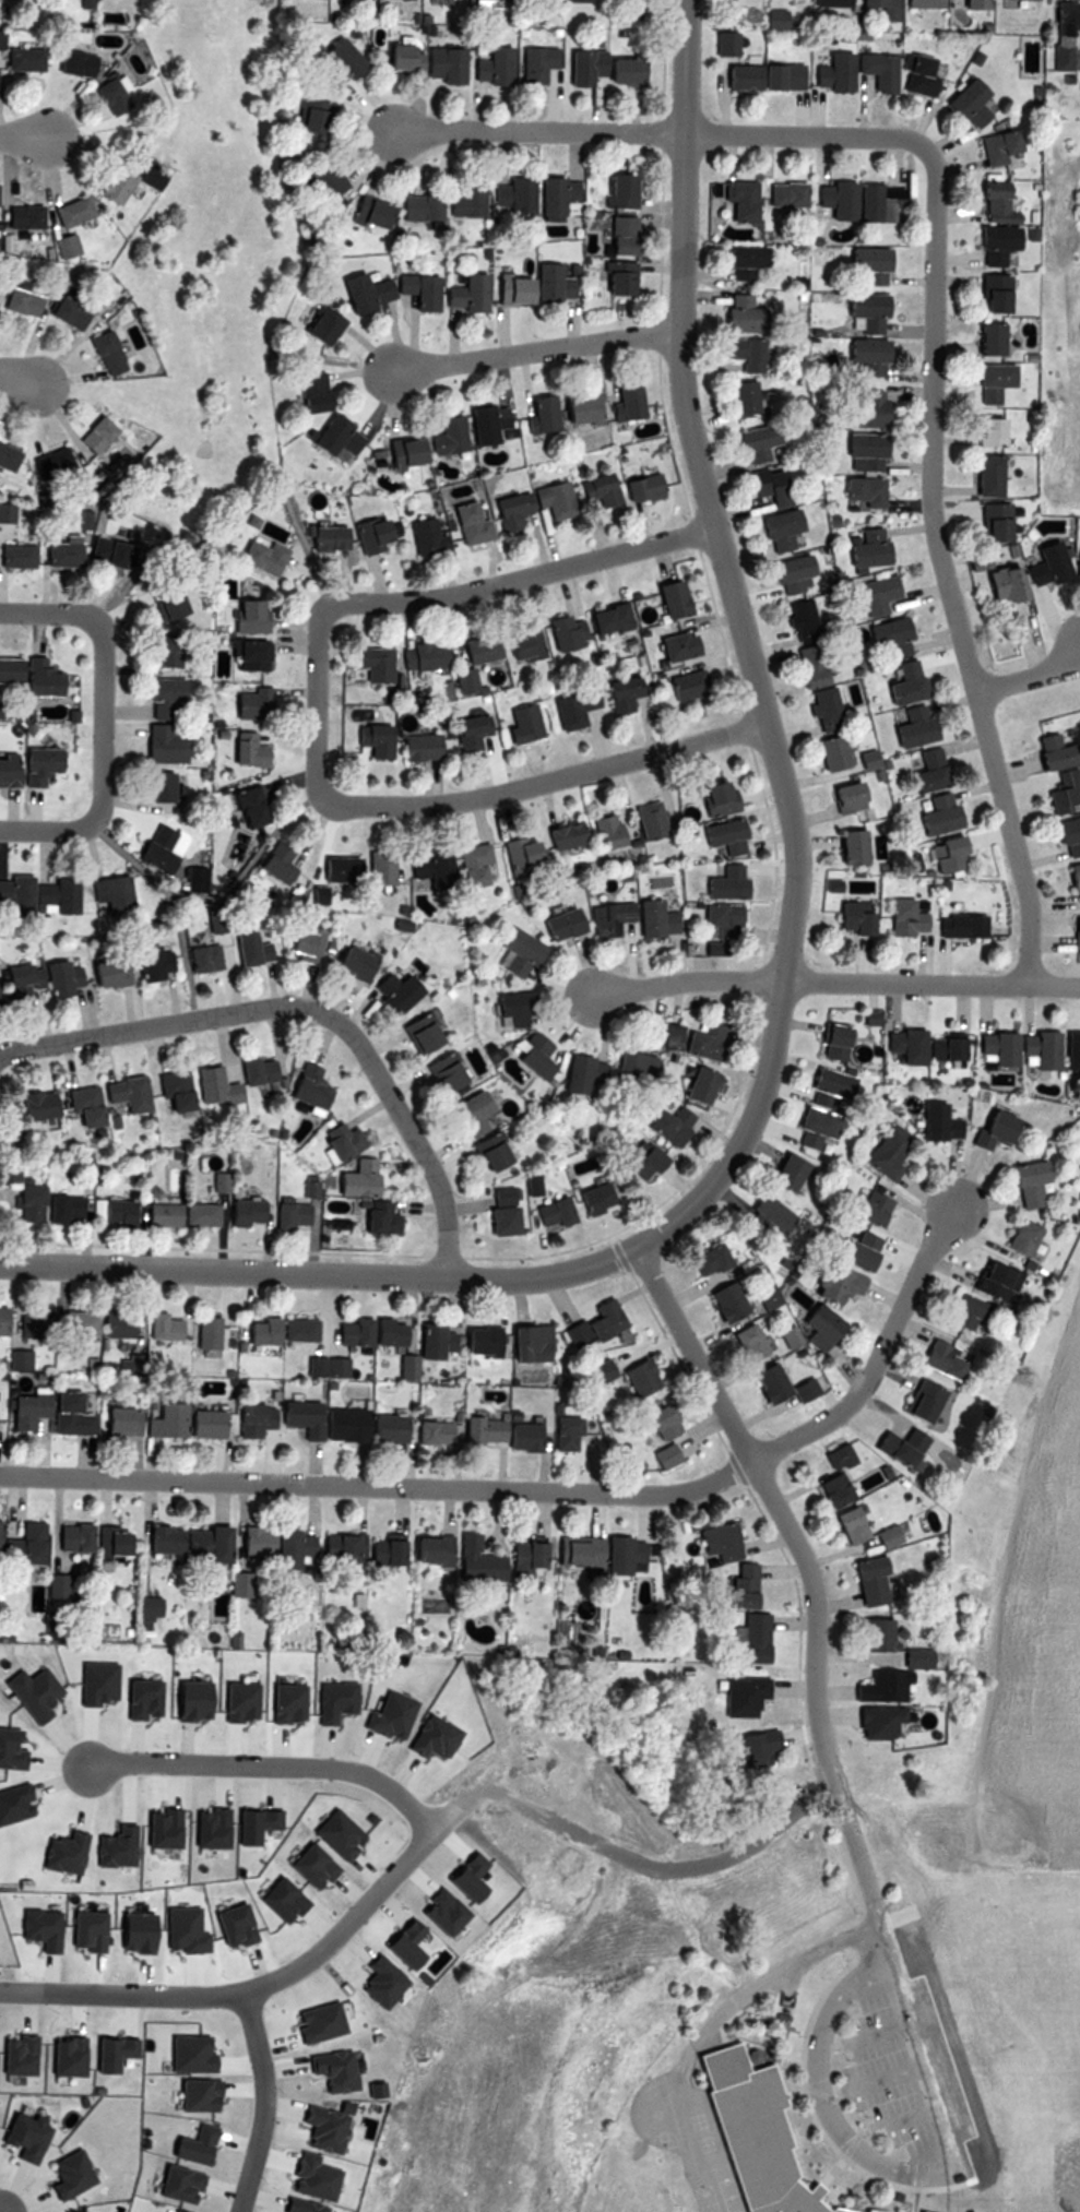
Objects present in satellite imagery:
building: (581, 0)
building: (627, 2)
building: (968, 2)
building: (824, 3)
building: (917, 3)
building: (876, 8)
building: (772, 20)
building: (0, 39)
building: (1065, 39)
building: (723, 44)
building: (394, 56)
building: (21, 59)
building: (70, 62)
building: (331, 62)
building: (529, 62)
building: (437, 63)
building: (578, 64)
building: (486, 66)
building: (619, 68)
building: (870, 70)
building: (827, 72)
building: (774, 76)
building: (913, 76)
building: (736, 78)
building: (105, 96)
building: (969, 104)
building: (301, 115)
building: (994, 147)
building: (143, 176)
building: (319, 179)
building: (619, 190)
building: (508, 194)
building: (780, 194)
building: (554, 195)
building: (462, 199)
building: (735, 199)
building: (855, 200)
building: (417, 206)
building: (370, 212)
building: (67, 213)
building: (16, 216)
building: (616, 235)
building: (59, 247)
building: (737, 260)
building: (866, 263)
building: (613, 276)
building: (545, 282)
building: (507, 288)
building: (413, 289)
building: (358, 292)
building: (461, 292)
building: (988, 293)
building: (15, 300)
building: (864, 311)
building: (63, 312)
building: (735, 312)
building: (316, 325)
building: (983, 338)
building: (99, 353)
building: (739, 353)
building: (863, 355)
building: (985, 380)
building: (306, 390)
building: (738, 396)
building: (622, 401)
building: (575, 408)
building: (861, 408)
building: (538, 413)
building: (479, 423)
building: (982, 430)
building: (331, 435)
building: (91, 436)
building: (444, 436)
building: (752, 443)
building: (859, 450)
building: (402, 452)
building: (3, 455)
building: (45, 463)
building: (981, 475)
building: (639, 487)
building: (764, 488)
building: (605, 489)
building: (857, 491)
building: (538, 503)
building: (2, 512)
building: (987, 522)
building: (468, 523)
building: (774, 531)
building: (378, 533)
building: (427, 536)
building: (329, 537)
building: (861, 548)
building: (110, 549)
building: (61, 550)
building: (14, 555)
building: (258, 557)
building: (1056, 564)
building: (785, 575)
building: (1008, 582)
building: (870, 596)
building: (161, 598)
building: (666, 600)
building: (242, 616)
building: (602, 621)
building: (795, 622)
building: (558, 633)
building: (883, 640)
building: (518, 644)
building: (670, 647)
building: (473, 649)
building: (159, 650)
building: (244, 654)
building: (368, 664)
building: (806, 667)
building: (7, 668)
building: (34, 677)
building: (456, 681)
building: (902, 685)
building: (680, 687)
building: (156, 694)
building: (616, 694)
building: (245, 703)
building: (567, 707)
building: (826, 710)
building: (515, 724)
building: (919, 726)
building: (463, 733)
building: (368, 738)
building: (156, 744)
building: (413, 745)
building: (240, 749)
building: (1059, 752)
building: (828, 753)
building: (33, 763)
building: (4, 770)
building: (937, 770)
building: (152, 784)
building: (1066, 793)
building: (710, 798)
building: (842, 798)
building: (241, 807)
building: (939, 816)
building: (643, 820)
building: (602, 832)
building: (560, 835)
building: (719, 837)
building: (1067, 837)
building: (152, 846)
building: (845, 846)
building: (518, 853)
building: (946, 856)
building: (270, 864)
building: (471, 865)
building: (333, 867)
building: (372, 867)
building: (428, 867)
building: (188, 879)
building: (1073, 882)
building: (720, 883)
building: (105, 891)
building: (12, 893)
building: (49, 894)
building: (310, 894)
building: (606, 917)
building: (649, 918)
building: (715, 918)
building: (847, 918)
building: (209, 919)
building: (899, 919)
building: (561, 923)
building: (966, 926)
building: (1075, 930)
building: (297, 942)
building: (242, 948)
building: (521, 954)
building: (198, 958)
building: (147, 961)
building: (347, 962)
building: (103, 972)
building: (55, 976)
building: (14, 980)
building: (391, 990)
building: (517, 1009)
building: (415, 1033)
building: (826, 1042)
building: (899, 1045)
building: (992, 1046)
building: (939, 1048)
building: (1036, 1049)
building: (1069, 1050)
building: (541, 1055)
building: (633, 1069)
building: (251, 1070)
building: (586, 1071)
building: (441, 1072)
building: (210, 1085)
building: (306, 1085)
building: (699, 1085)
building: (822, 1086)
building: (169, 1089)
building: (121, 1093)
building: (31, 1104)
building: (80, 1106)
building: (470, 1115)
building: (931, 1122)
building: (673, 1123)
building: (810, 1128)
building: (340, 1140)
building: (495, 1153)
building: (888, 1153)
building: (645, 1158)
building: (7, 1170)
building: (358, 1177)
building: (218, 1181)
building: (1023, 1184)
building: (591, 1199)
building: (22, 1200)
building: (57, 1206)
building: (111, 1210)
building: (240, 1210)
building: (500, 1210)
building: (880, 1210)
building: (176, 1213)
building: (284, 1213)
building: (550, 1213)
building: (768, 1215)
building: (373, 1217)
building: (1019, 1242)
building: (866, 1252)
building: (709, 1260)
building: (998, 1280)
building: (770, 1299)
building: (732, 1301)
building: (974, 1306)
building: (71, 1321)
building: (26, 1323)
building: (109, 1323)
building: (597, 1324)
building: (827, 1324)
building: (156, 1325)
building: (293, 1328)
building: (200, 1330)
building: (254, 1330)
building: (381, 1330)
building: (345, 1331)
building: (795, 1336)
building: (429, 1339)
building: (476, 1339)
building: (530, 1340)
building: (755, 1343)
building: (12, 1358)
building: (319, 1366)
building: (401, 1366)
building: (604, 1371)
building: (644, 1376)
building: (784, 1384)
building: (918, 1401)
building: (26, 1408)
building: (67, 1414)
building: (295, 1416)
building: (248, 1418)
building: (142, 1419)
building: (670, 1420)
building: (201, 1422)
building: (339, 1424)
building: (381, 1426)
building: (476, 1428)
building: (426, 1431)
building: (558, 1431)
building: (517, 1434)
building: (898, 1448)
building: (833, 1458)
building: (829, 1491)
building: (844, 1525)
building: (69, 1536)
building: (159, 1537)
building: (251, 1538)
building: (881, 1538)
building: (107, 1539)
building: (202, 1541)
building: (713, 1543)
building: (21, 1544)
building: (337, 1544)
building: (288, 1546)
building: (425, 1548)
building: (381, 1549)
building: (571, 1549)
building: (519, 1553)
building: (616, 1554)
building: (471, 1559)
building: (863, 1581)
building: (238, 1583)
building: (51, 1584)
building: (735, 1585)
building: (869, 1633)
building: (745, 1638)
building: (910, 1657)
building: (876, 1686)
building: (736, 1696)
building: (871, 1720)
building: (751, 1748)
building: (747, 2133)

